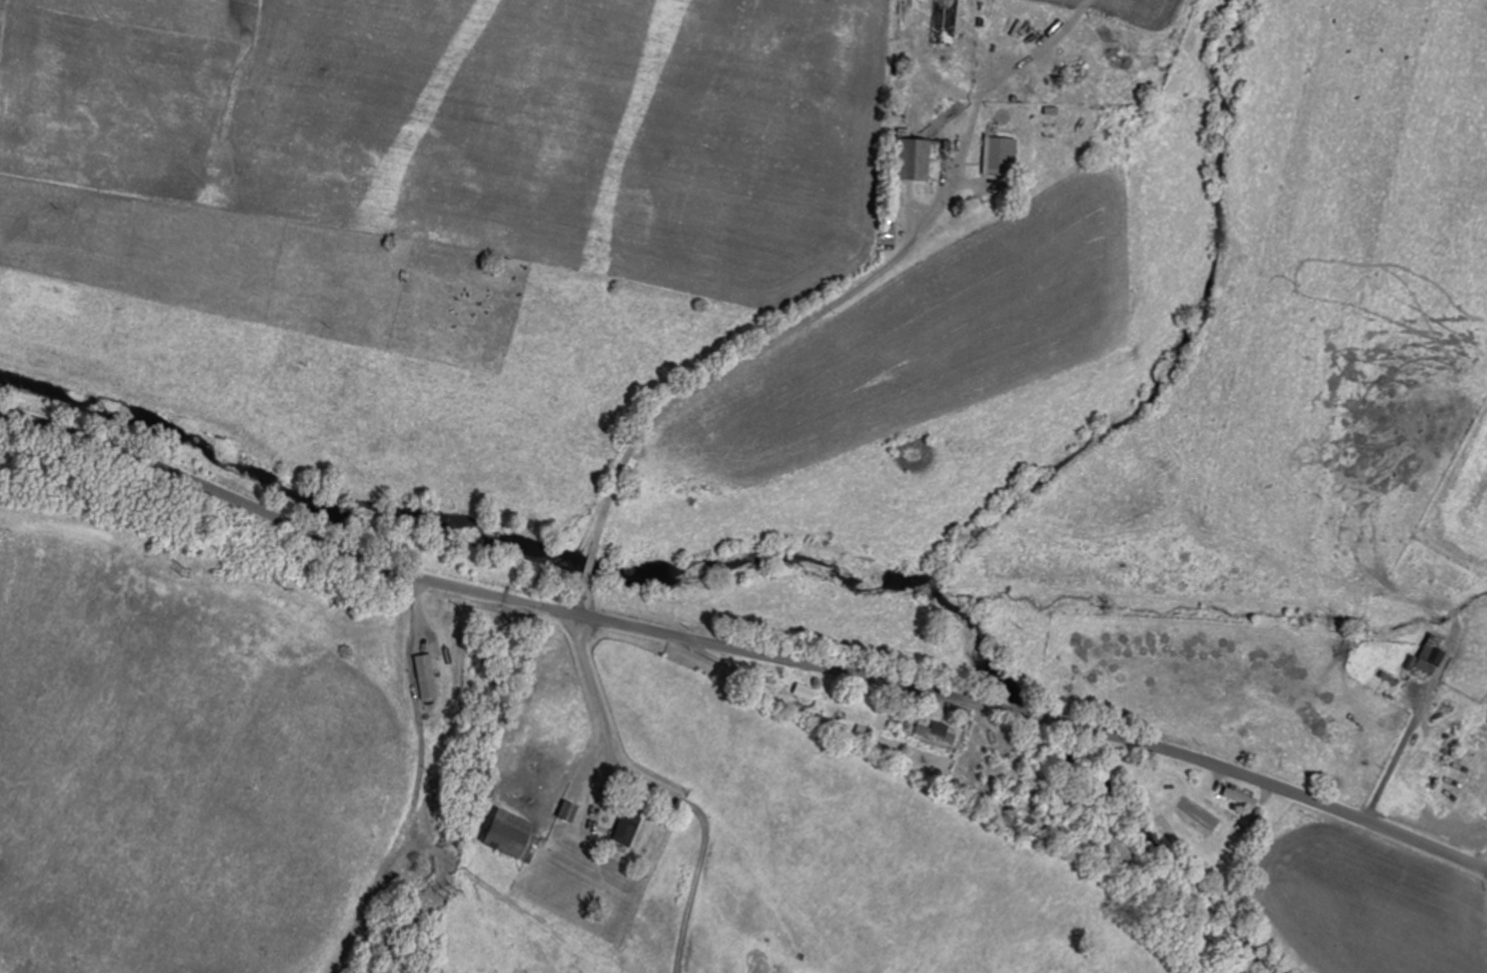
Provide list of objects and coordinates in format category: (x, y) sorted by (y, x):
building: (947, 22)
building: (1007, 156)
building: (920, 157)
road: (759, 348)
road: (283, 521)
road: (589, 564)
road: (580, 595)
building: (1435, 654)
building: (429, 677)
building: (800, 690)
road: (601, 705)
road: (1036, 717)
building: (936, 733)
building: (863, 736)
road: (1397, 757)
building: (1245, 798)
building: (629, 828)
building: (514, 835)
road: (1483, 914)

